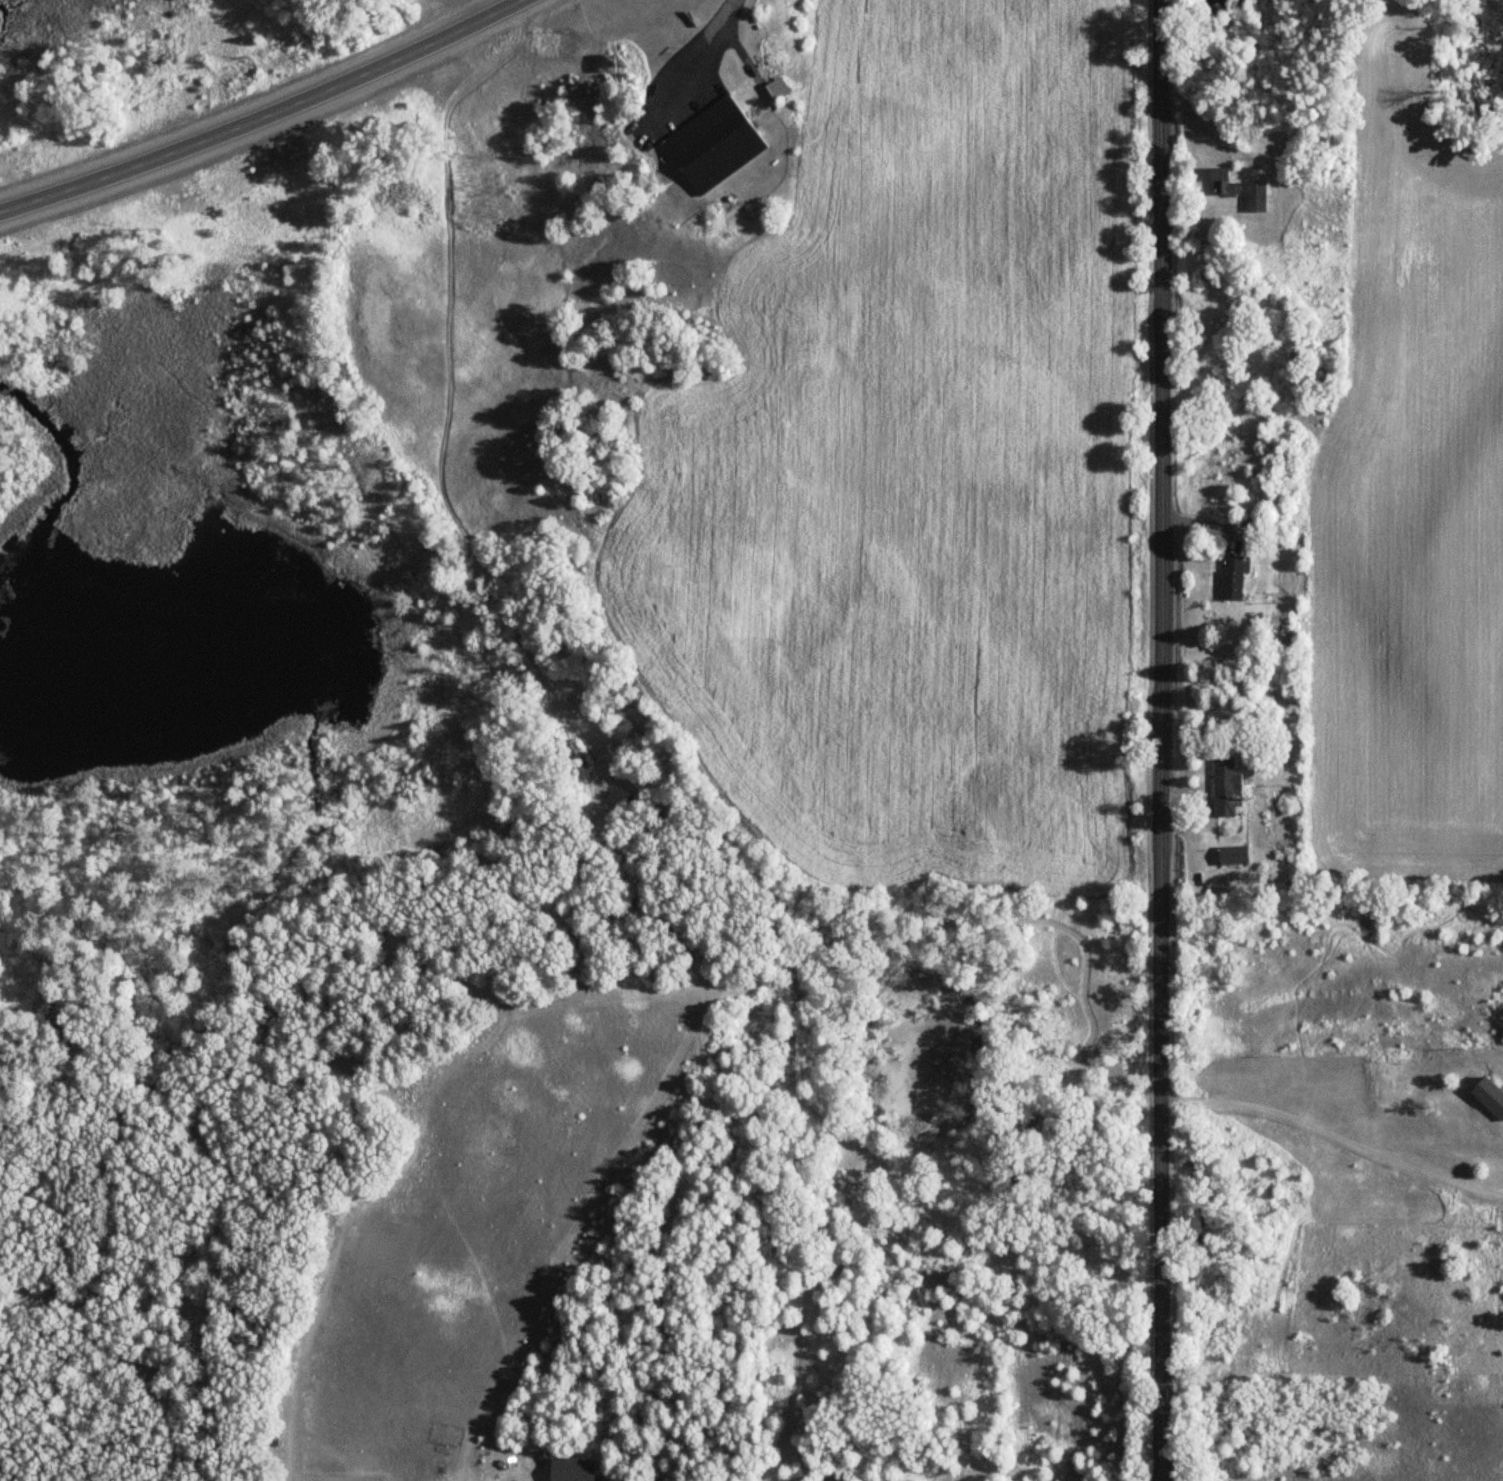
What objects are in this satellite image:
road: (706, 43)
building: (781, 89)
road: (265, 117)
building: (718, 147)
building: (1221, 182)
building: (1255, 198)
building: (1302, 258)
building: (1230, 578)
road: (1161, 740)
building: (1222, 787)
building: (1231, 854)
road: (1337, 1120)
building: (569, 1469)
building: (837, 1478)

